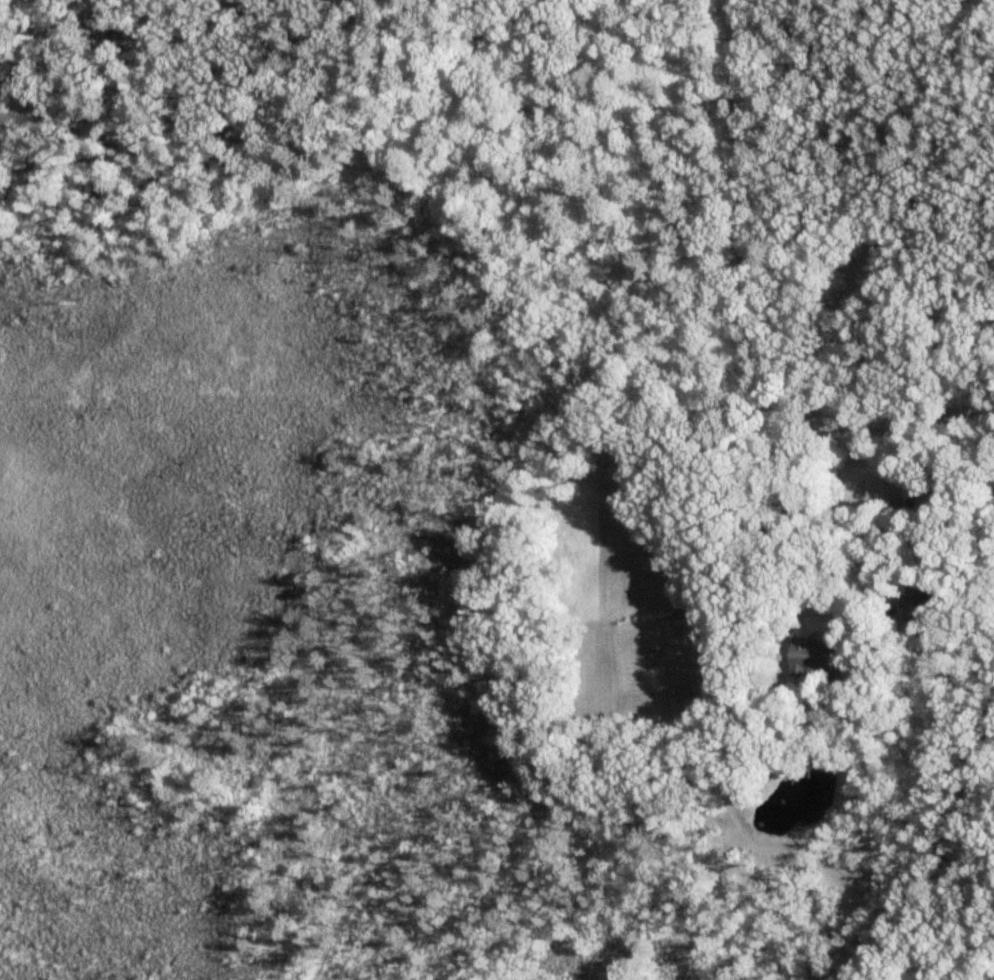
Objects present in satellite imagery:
road: (743, 206)
road: (885, 416)
road: (979, 558)
road: (908, 562)
building: (914, 602)
building: (815, 655)

